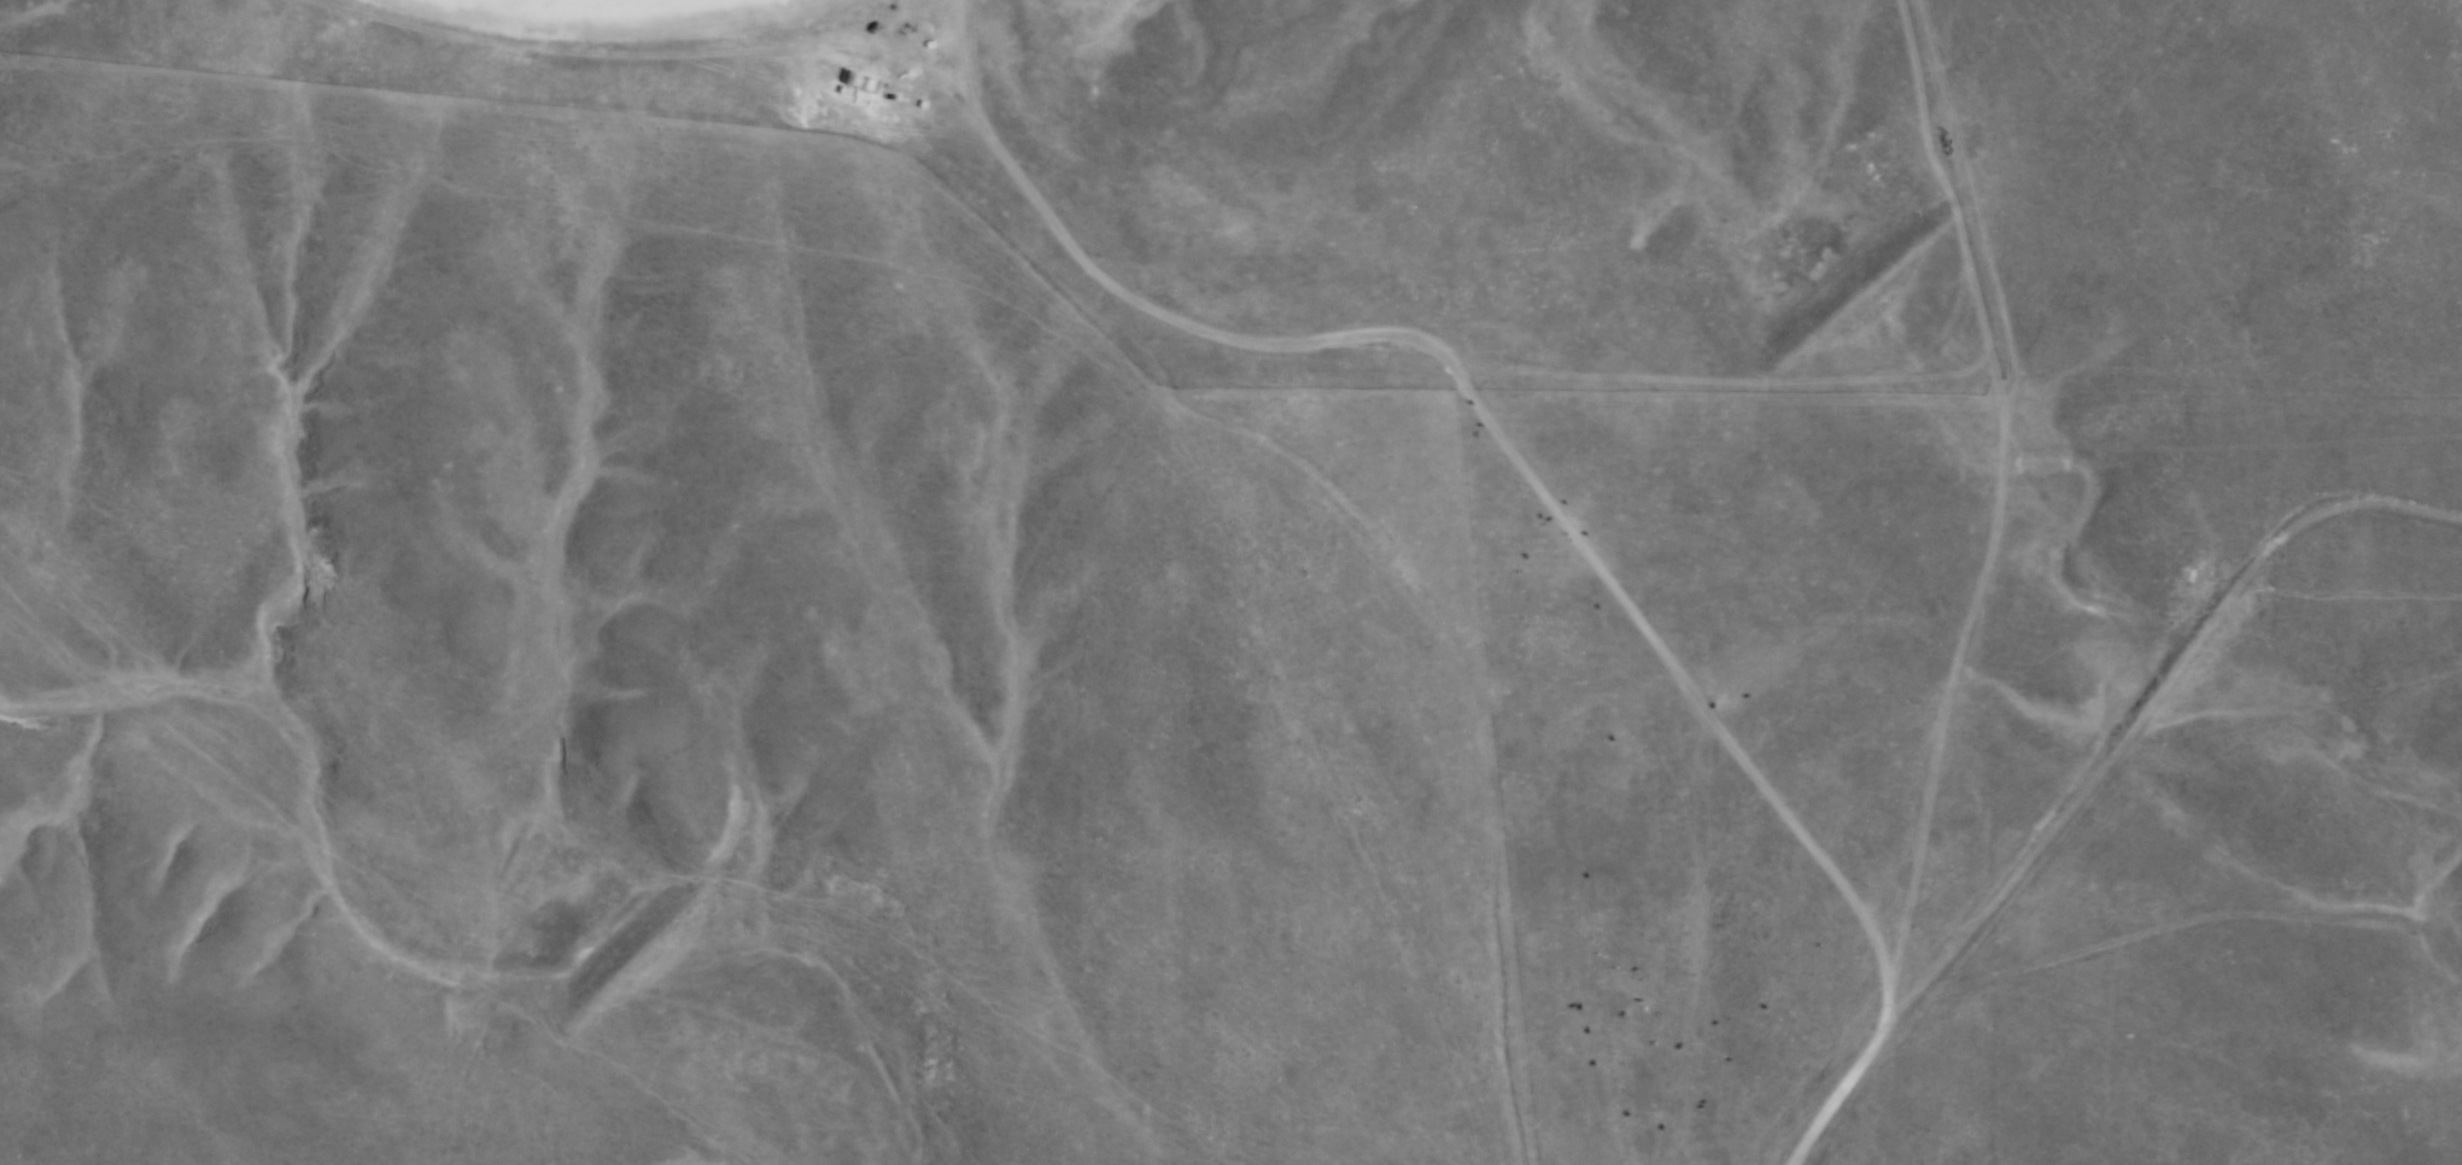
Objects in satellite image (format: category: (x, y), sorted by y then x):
crop: (610, 11)
dam: (638, 958)

